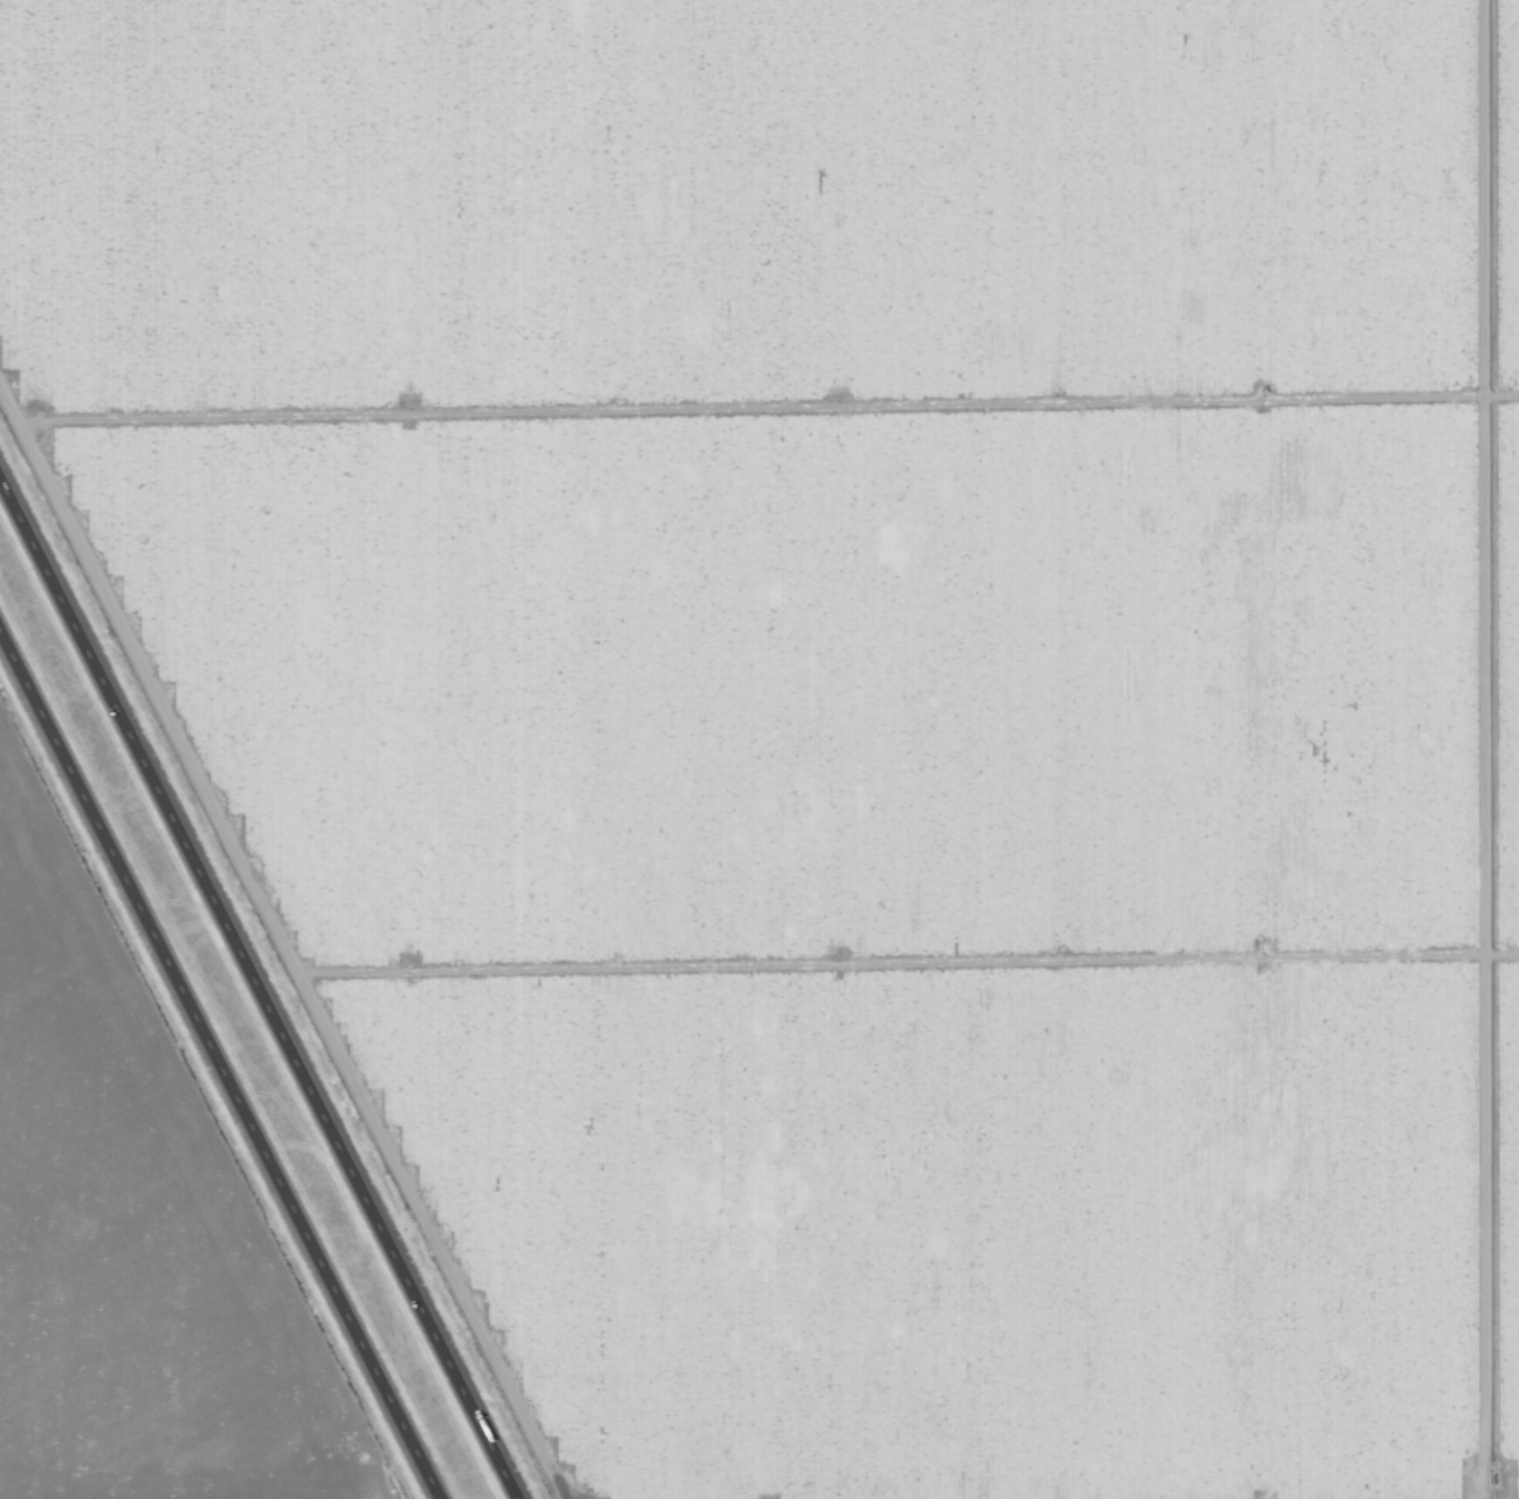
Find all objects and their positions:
crop: (817, 690)
crop: (1492, 751)
road: (259, 984)
road: (219, 1068)
crop: (126, 1231)

